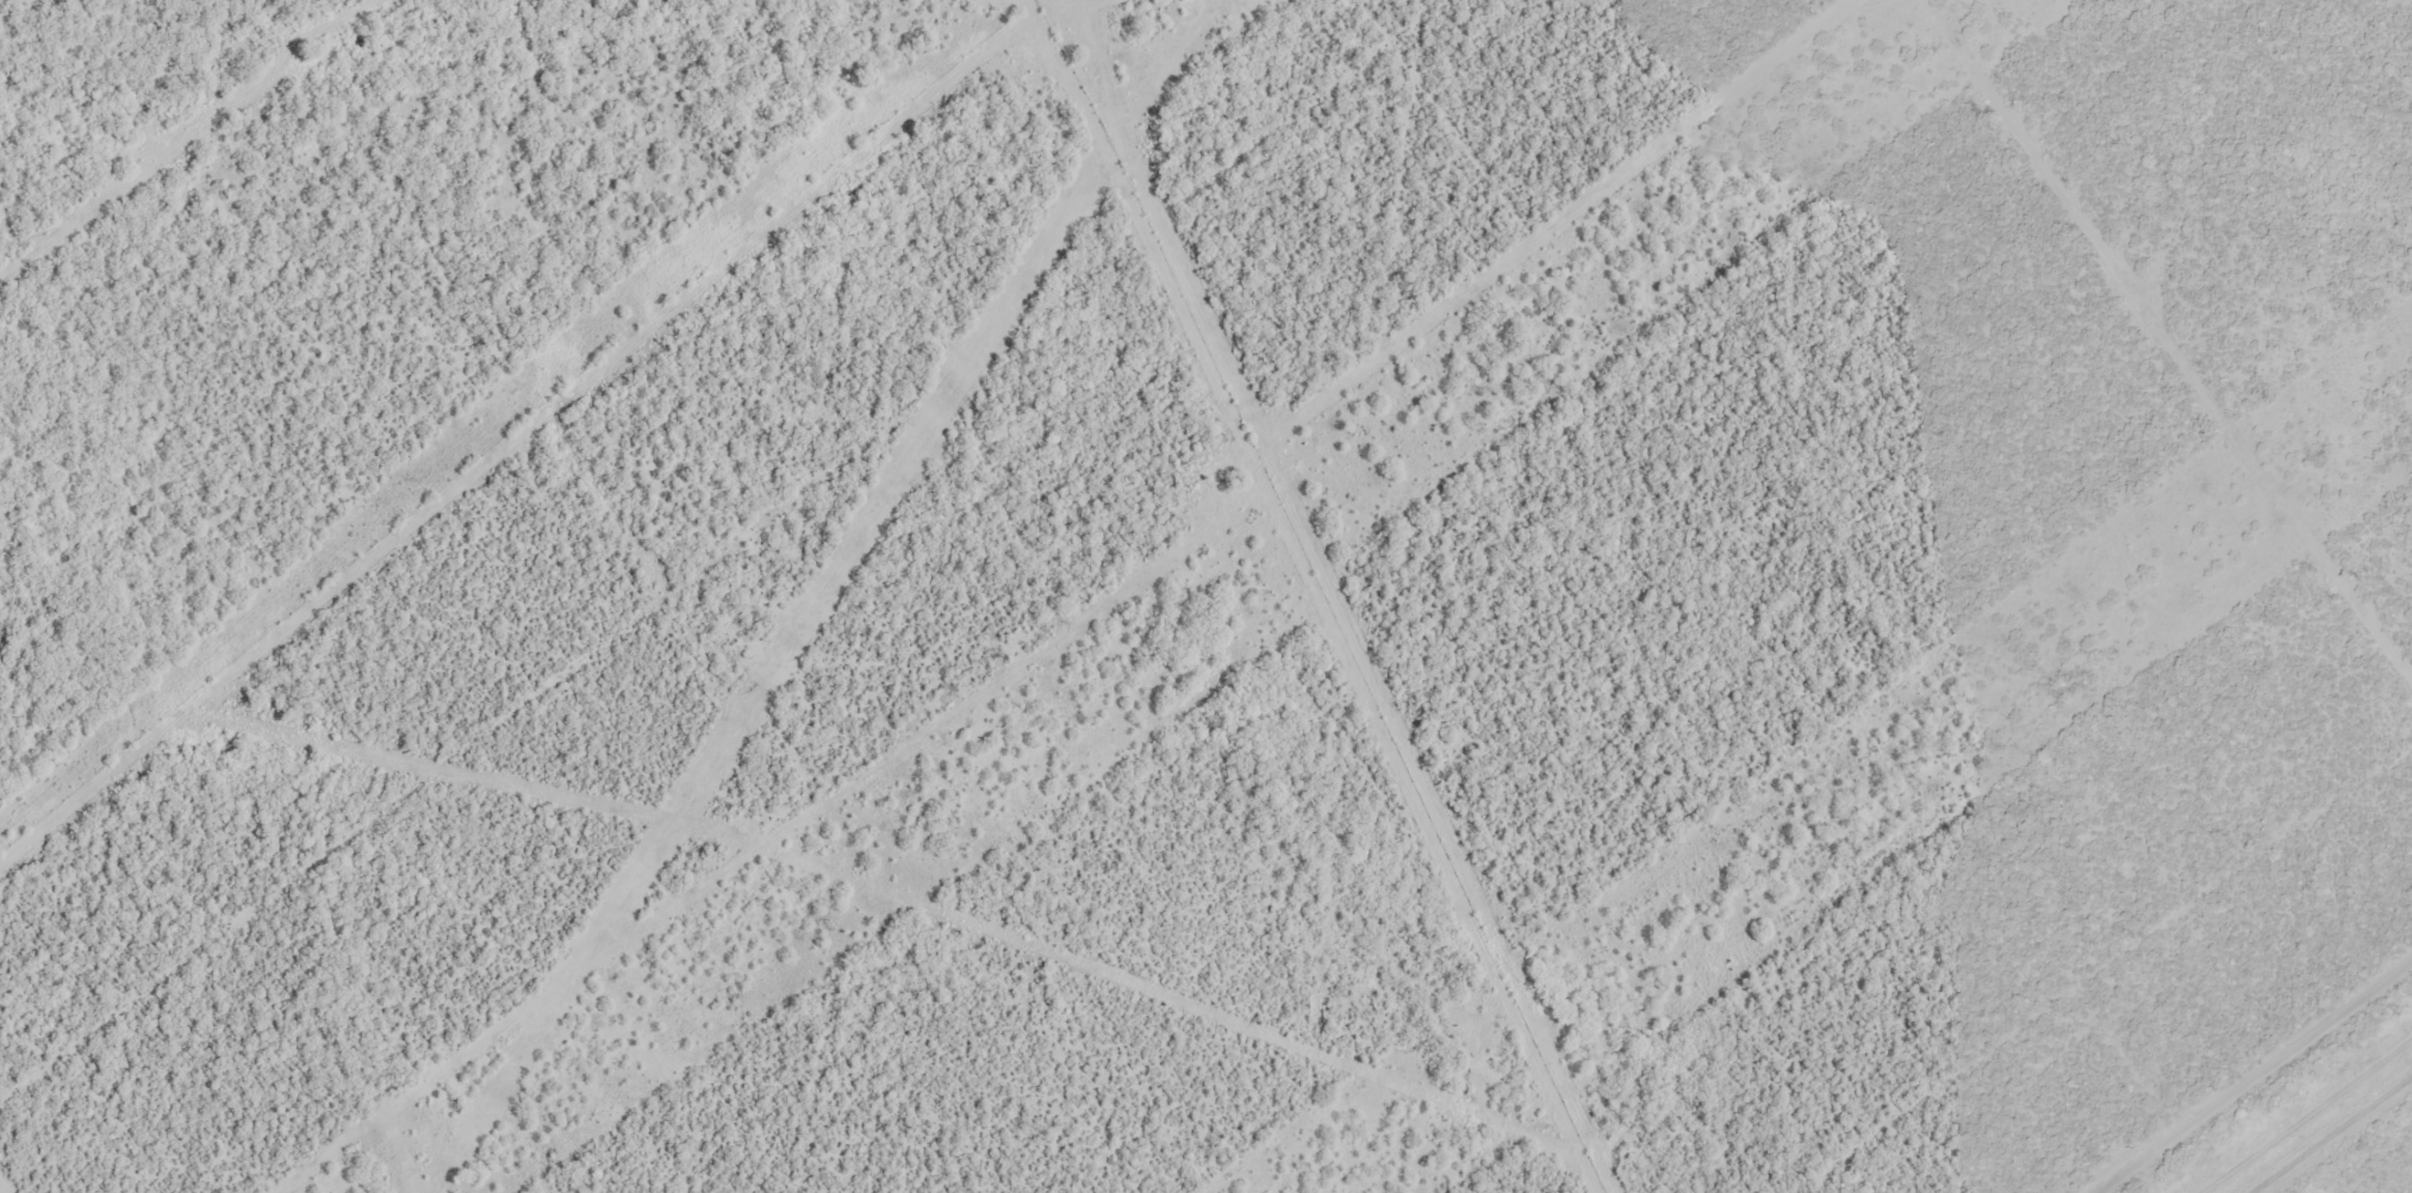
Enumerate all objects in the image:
road: (2260, 1082)
road: (2342, 1142)

